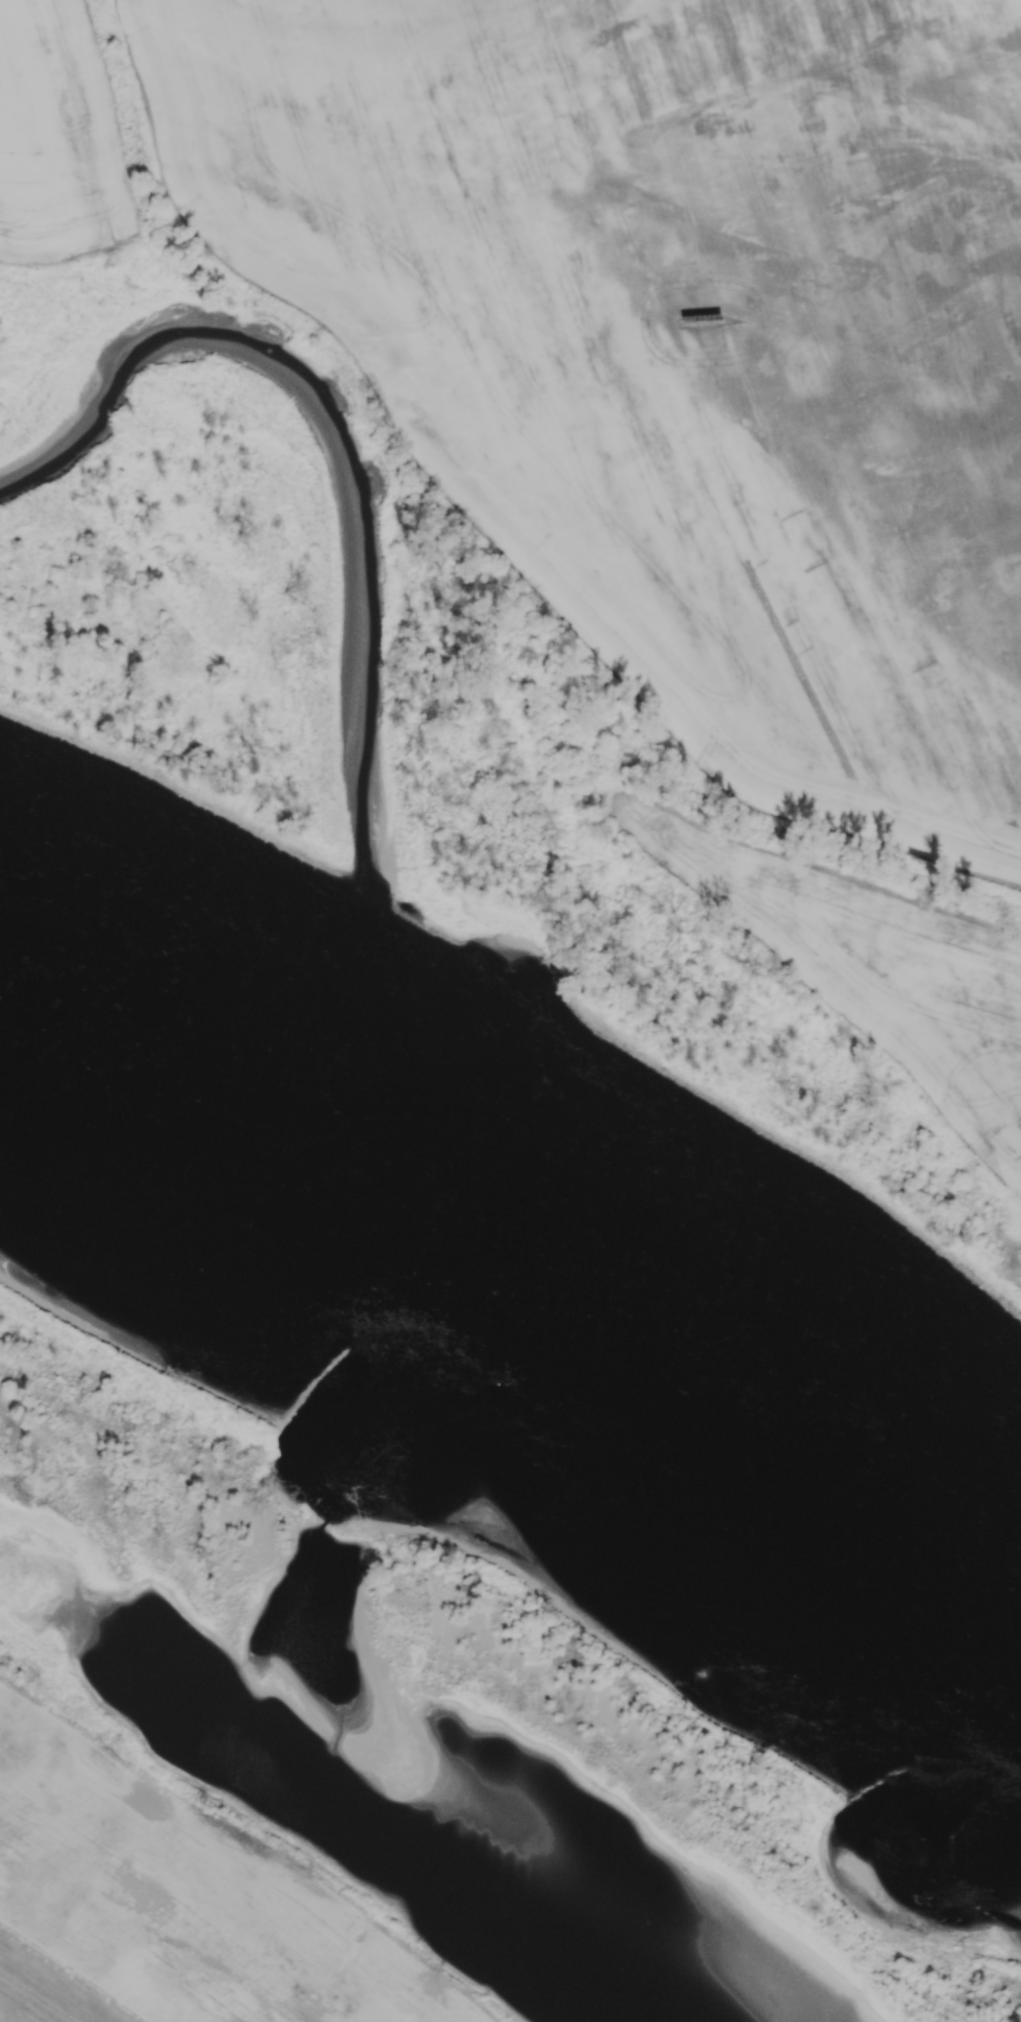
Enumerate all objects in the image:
river: (351, 606)
river: (541, 1264)

